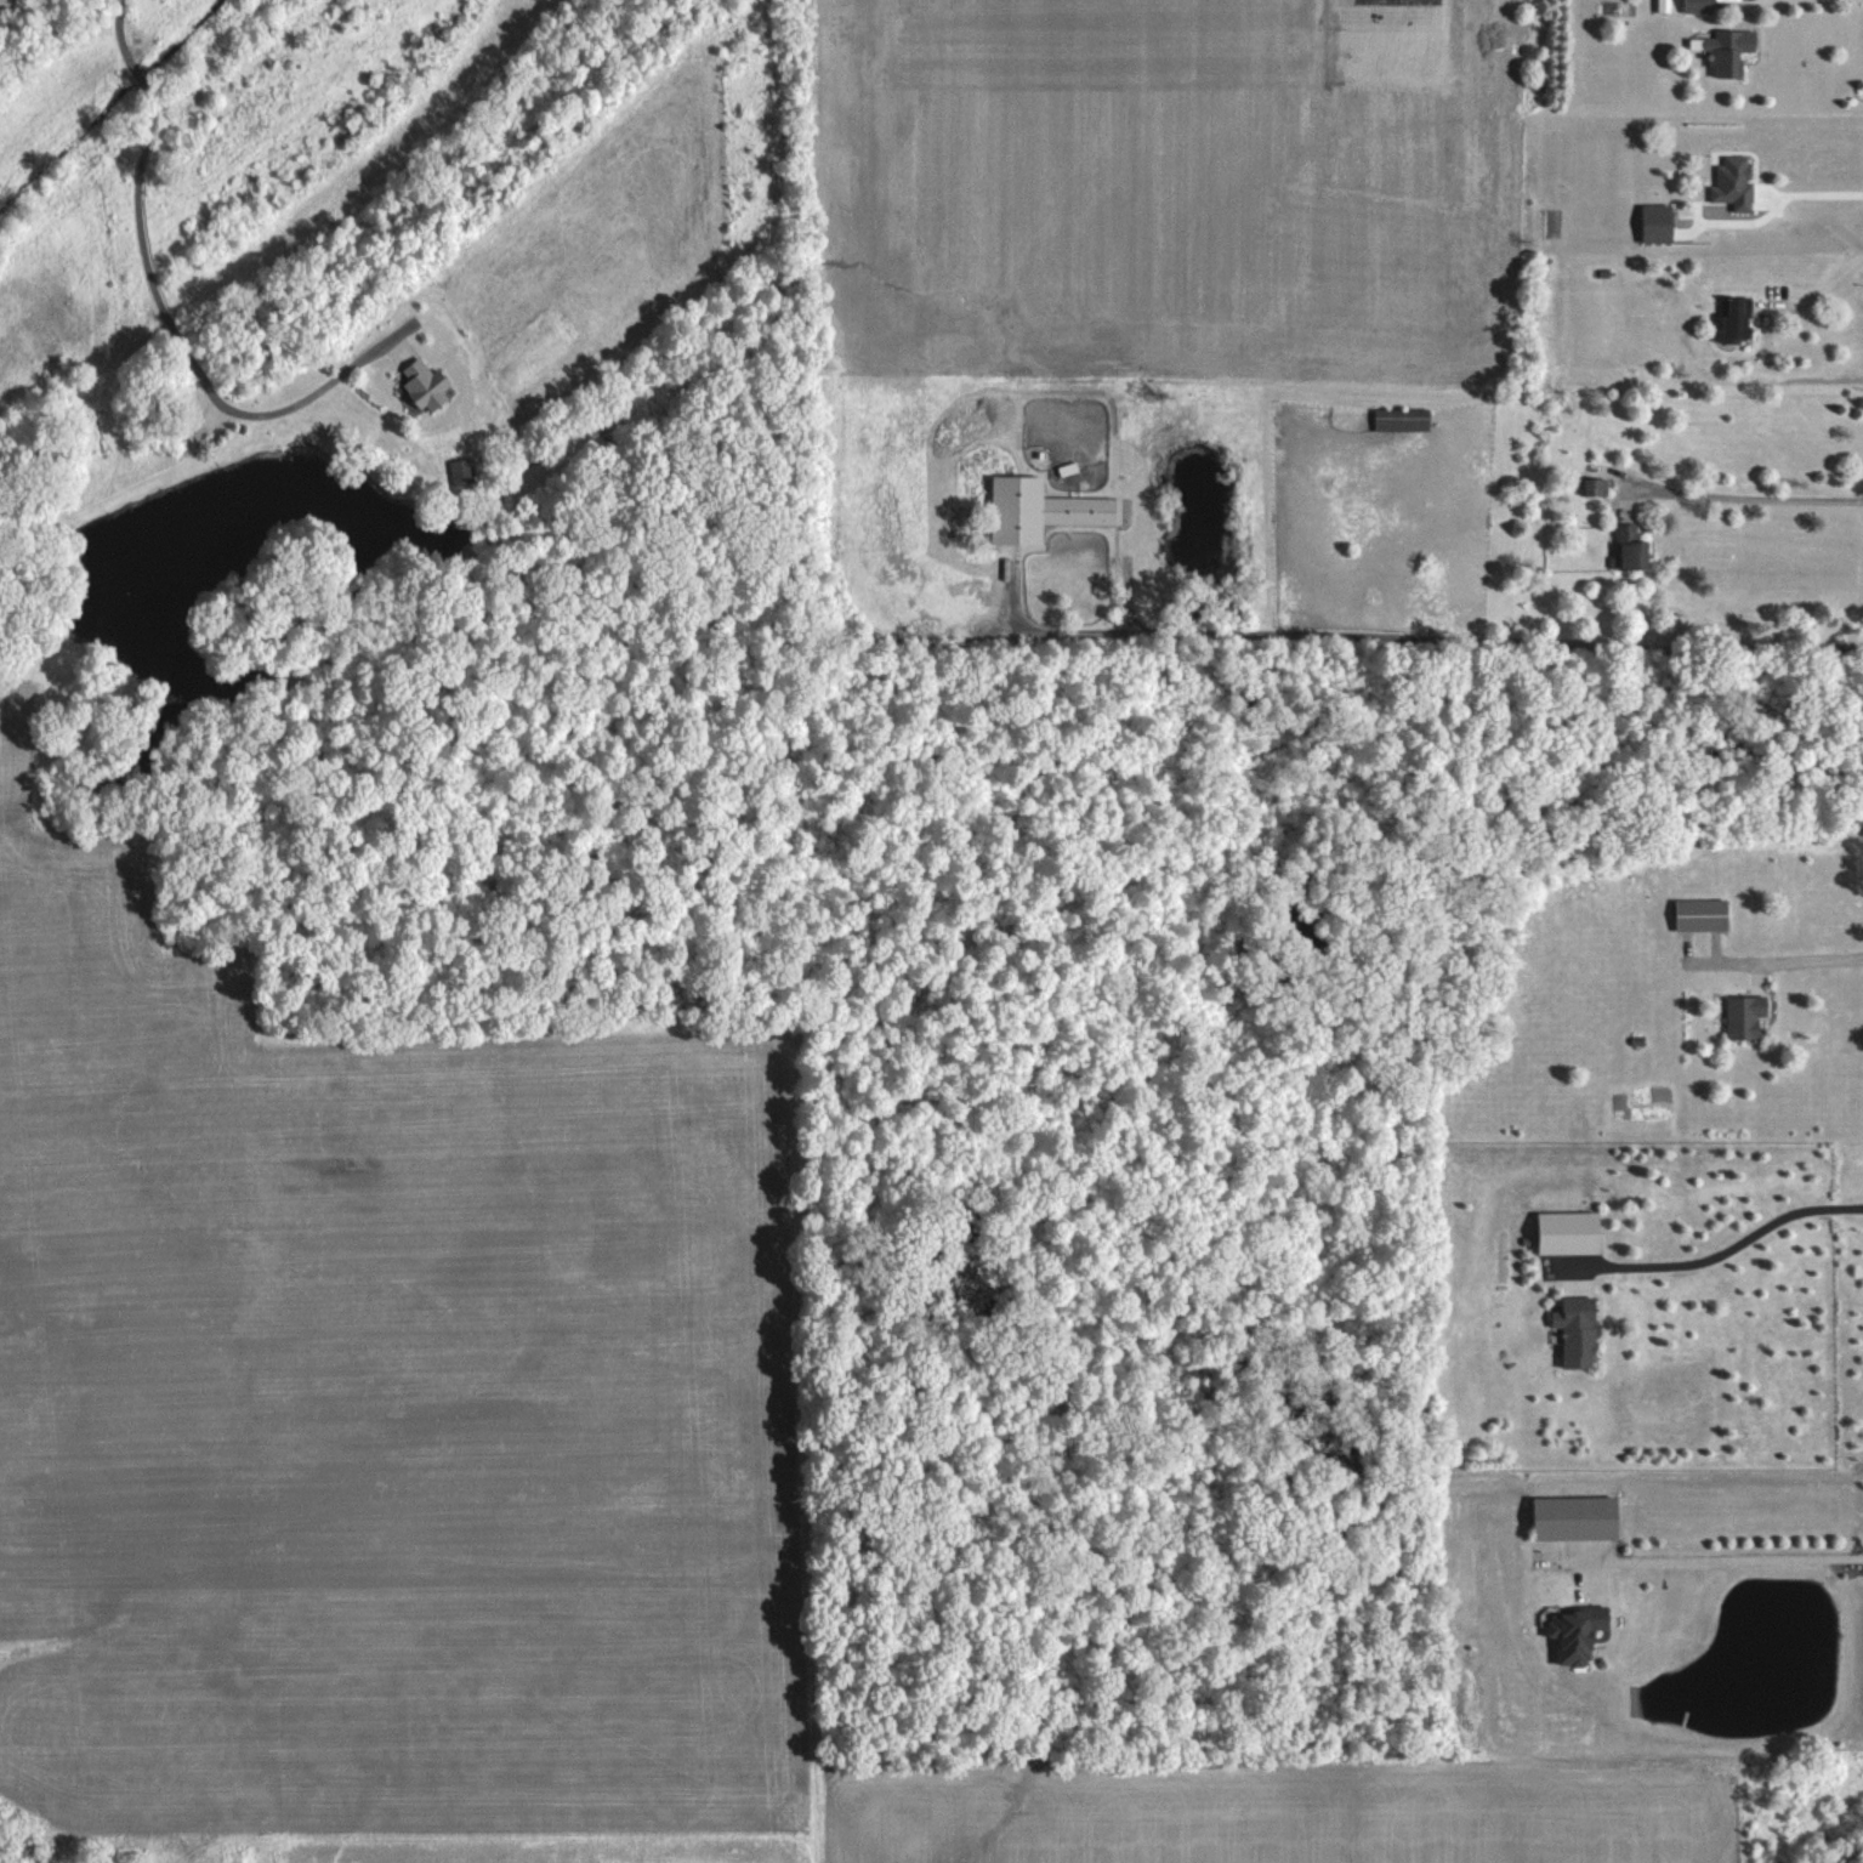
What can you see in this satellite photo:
building: (1700, 6)
building: (1729, 51)
building: (1734, 183)
building: (1658, 223)
road: (1818, 299)
road: (160, 302)
building: (1737, 319)
building: (1402, 420)
building: (1595, 487)
road: (1740, 494)
building: (1041, 510)
building: (1629, 549)
building: (1702, 915)
road: (1782, 958)
building: (1745, 1017)
road: (1716, 1249)
building: (1578, 1329)
building: (1578, 1518)
road: (1726, 1552)
building: (1578, 1634)

